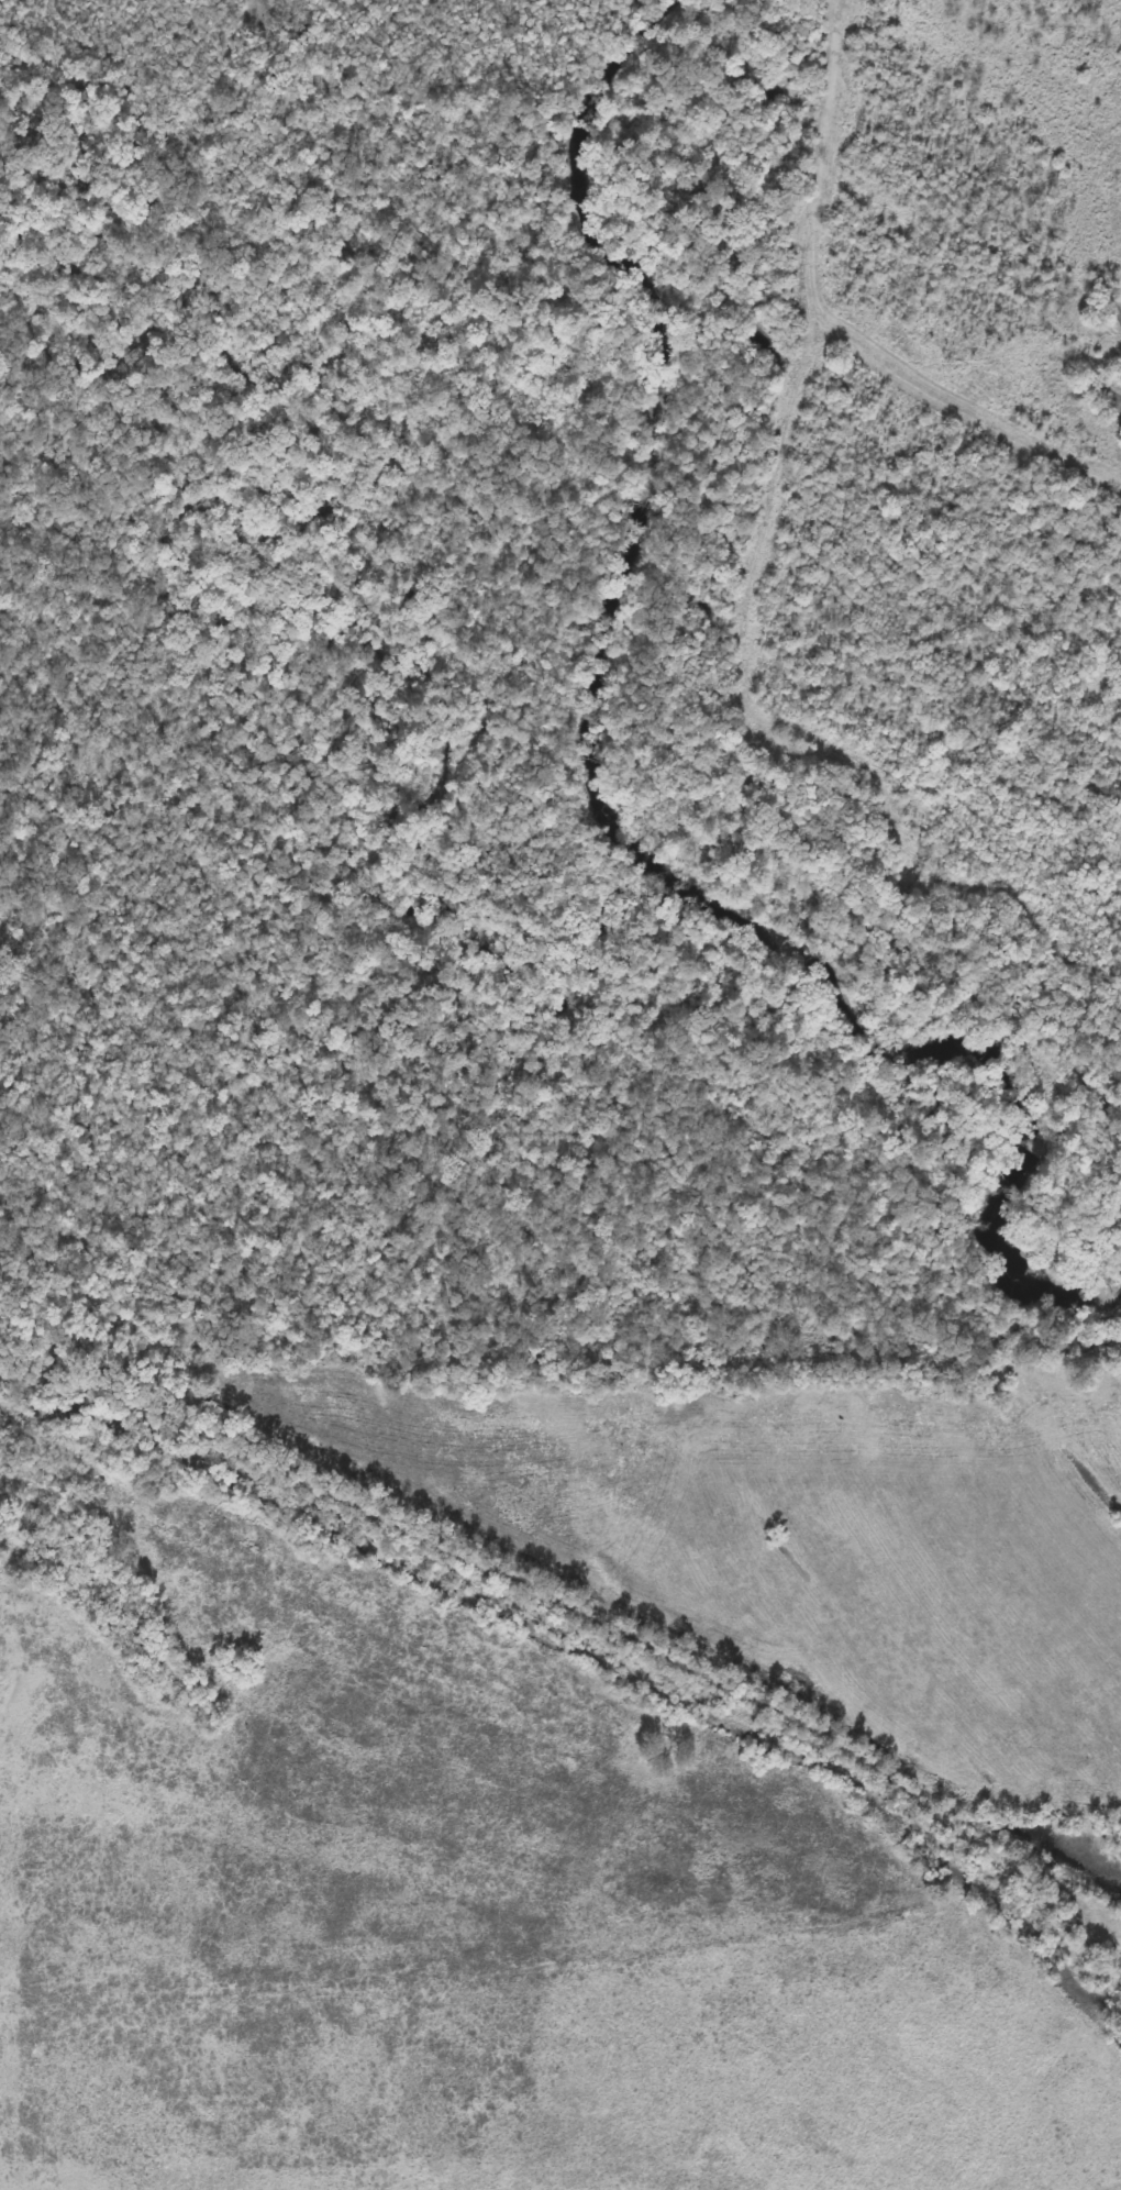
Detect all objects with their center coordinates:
river: (612, 799)

